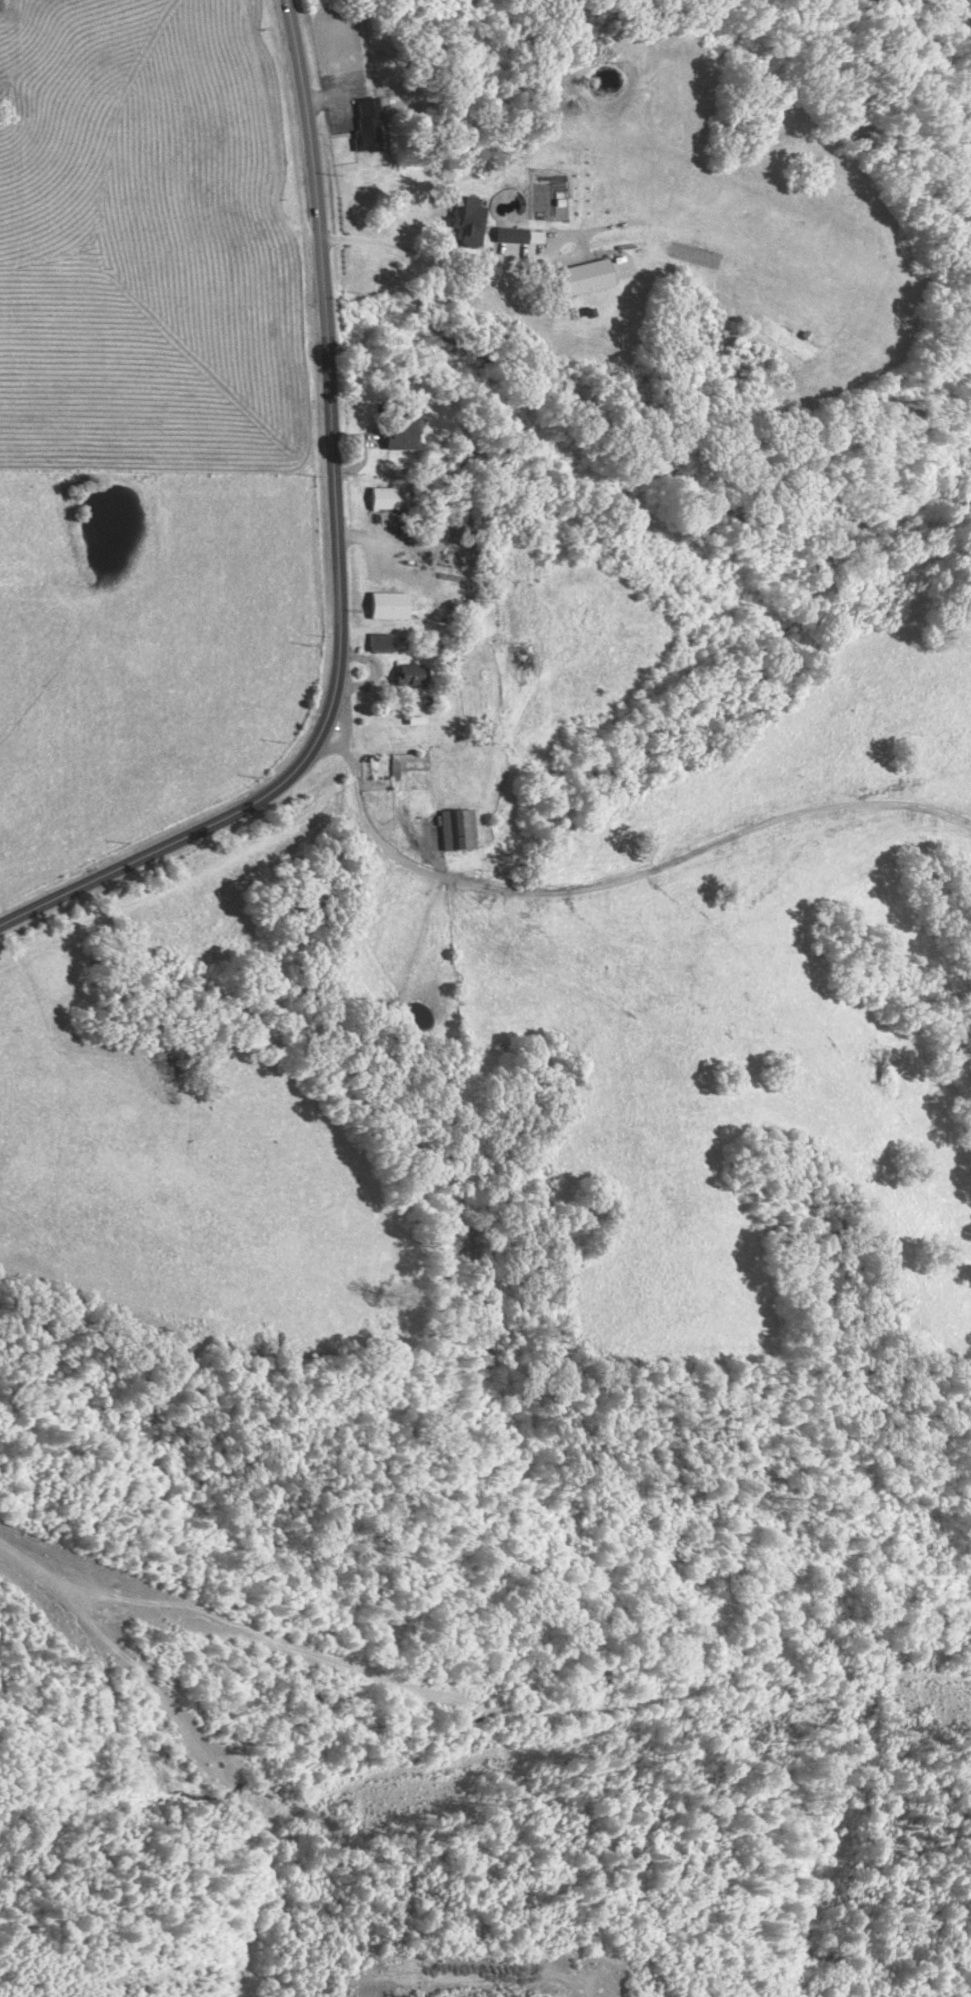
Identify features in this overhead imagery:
building: (367, 126)
building: (468, 220)
building: (510, 235)
road: (482, 260)
building: (593, 274)
building: (402, 431)
building: (383, 498)
road: (335, 556)
building: (389, 605)
building: (381, 642)
building: (412, 674)
road: (345, 730)
building: (458, 828)
road: (378, 839)

